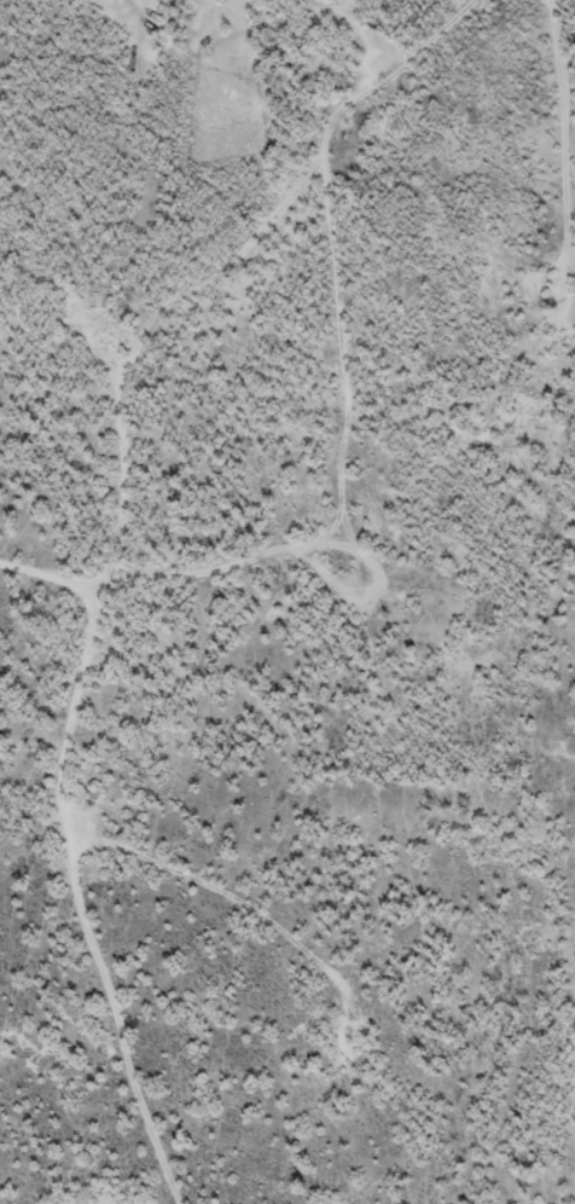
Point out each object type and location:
road: (279, 79)
road: (135, 625)
road: (272, 913)
road: (170, 1041)

